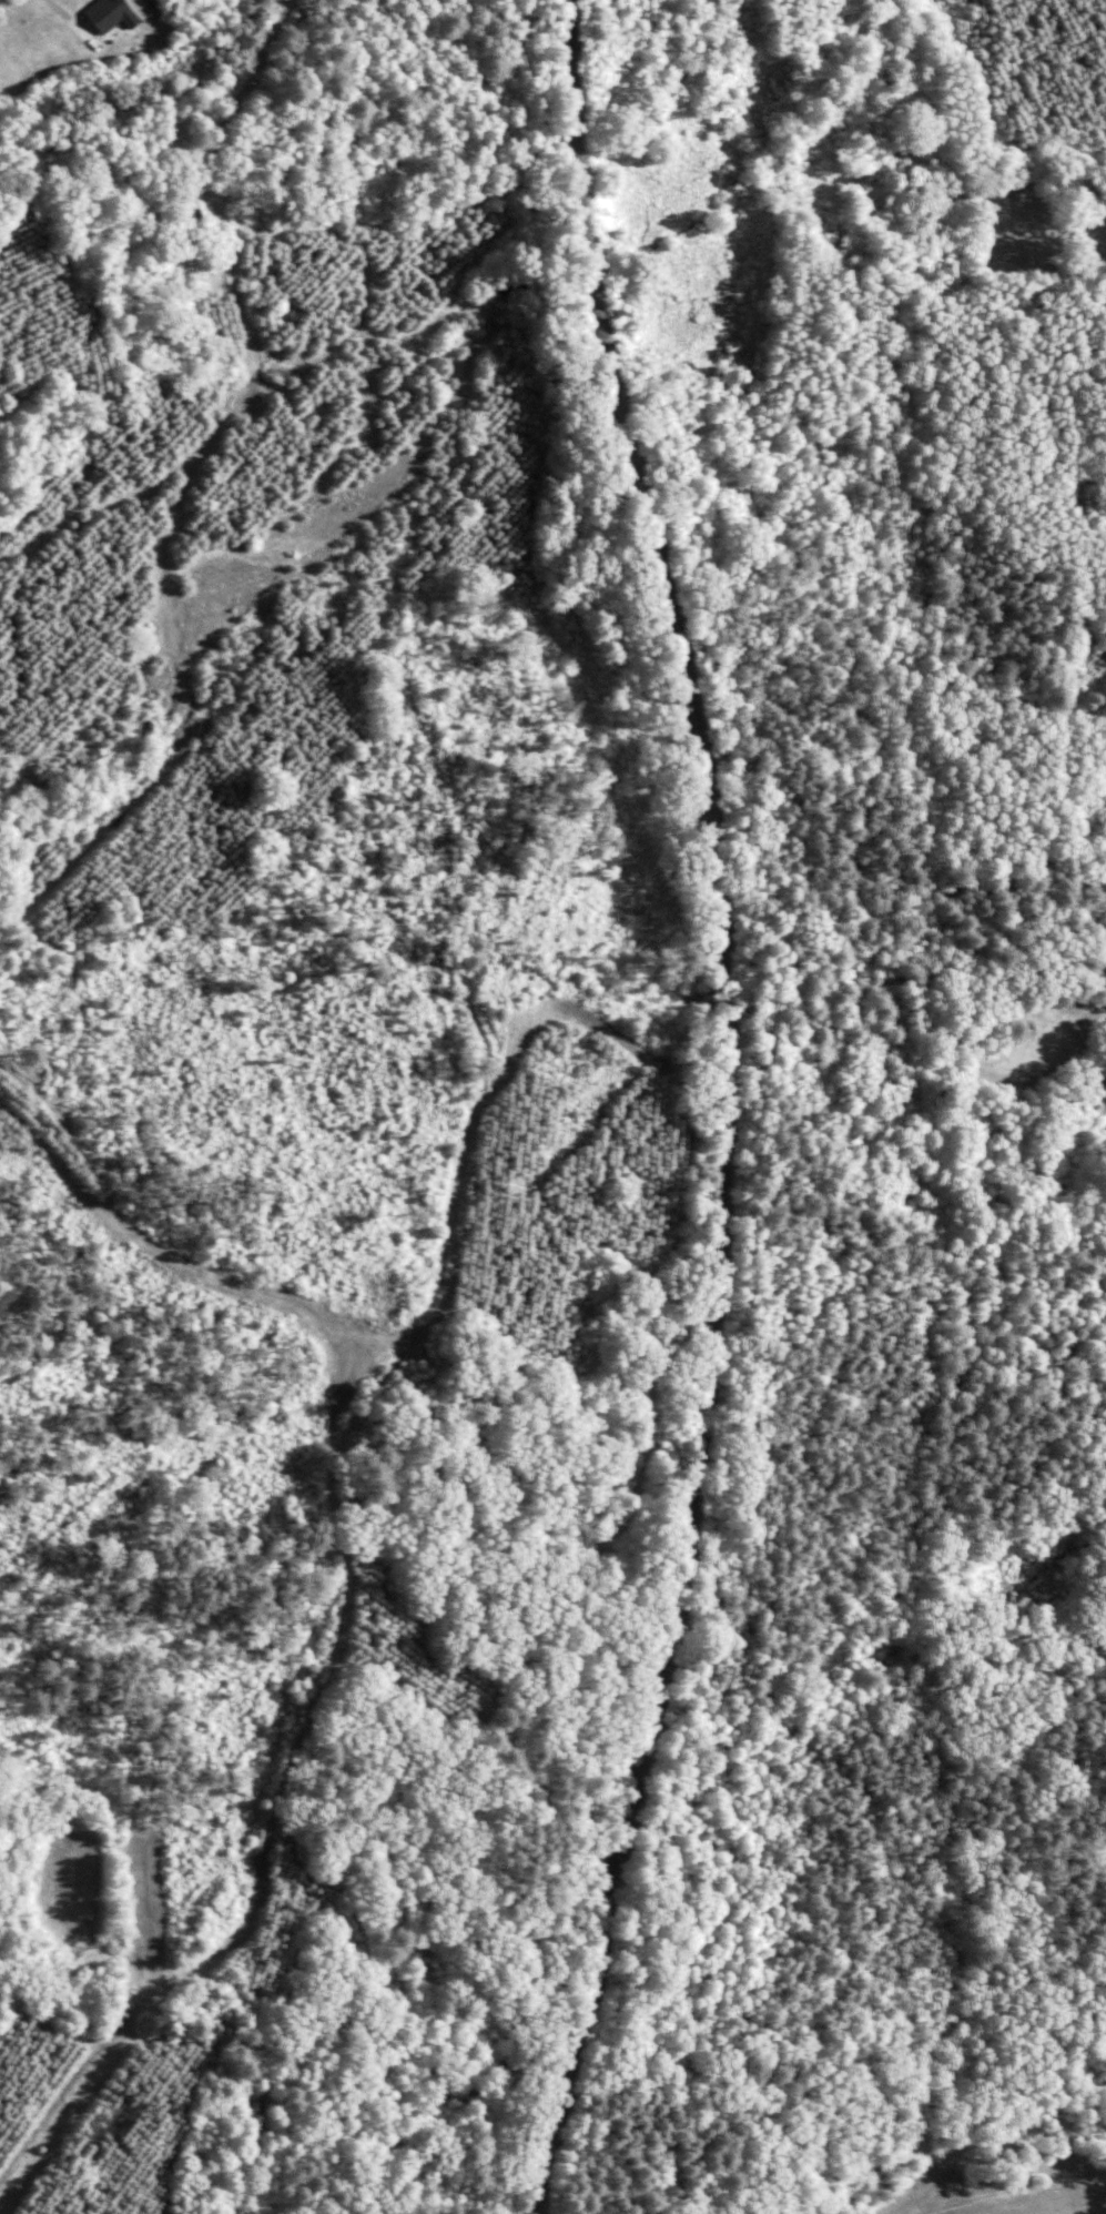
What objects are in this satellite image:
road: (1079, 453)
railway: (765, 1109)

